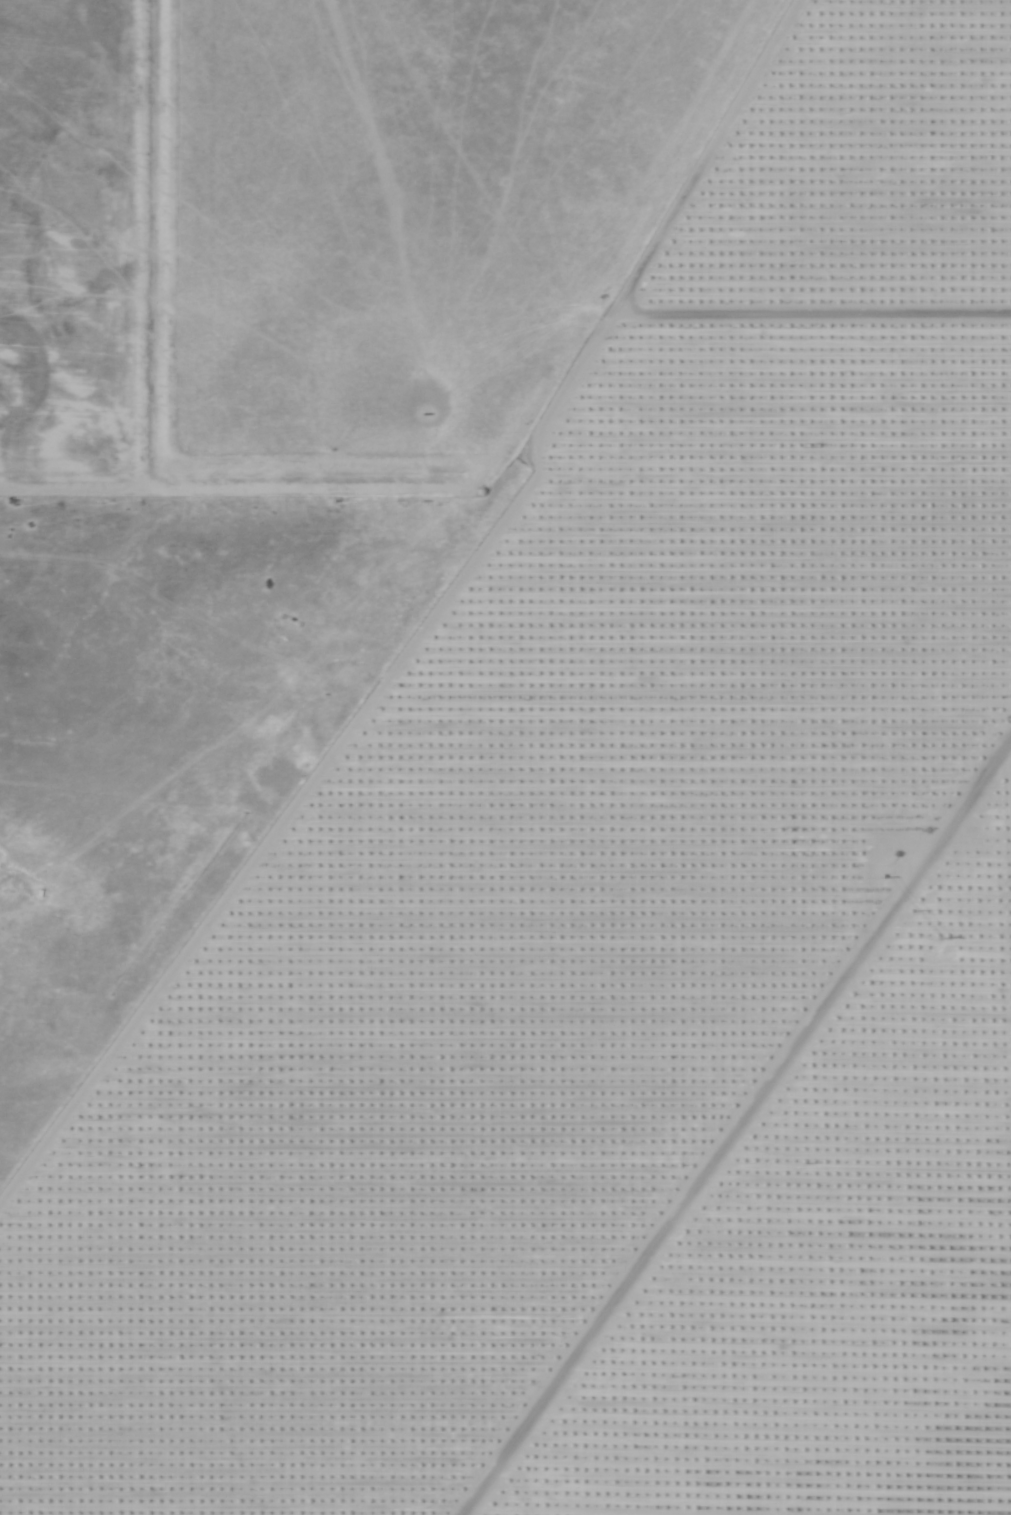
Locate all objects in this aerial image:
crop: (326, 223)
crop: (623, 934)

